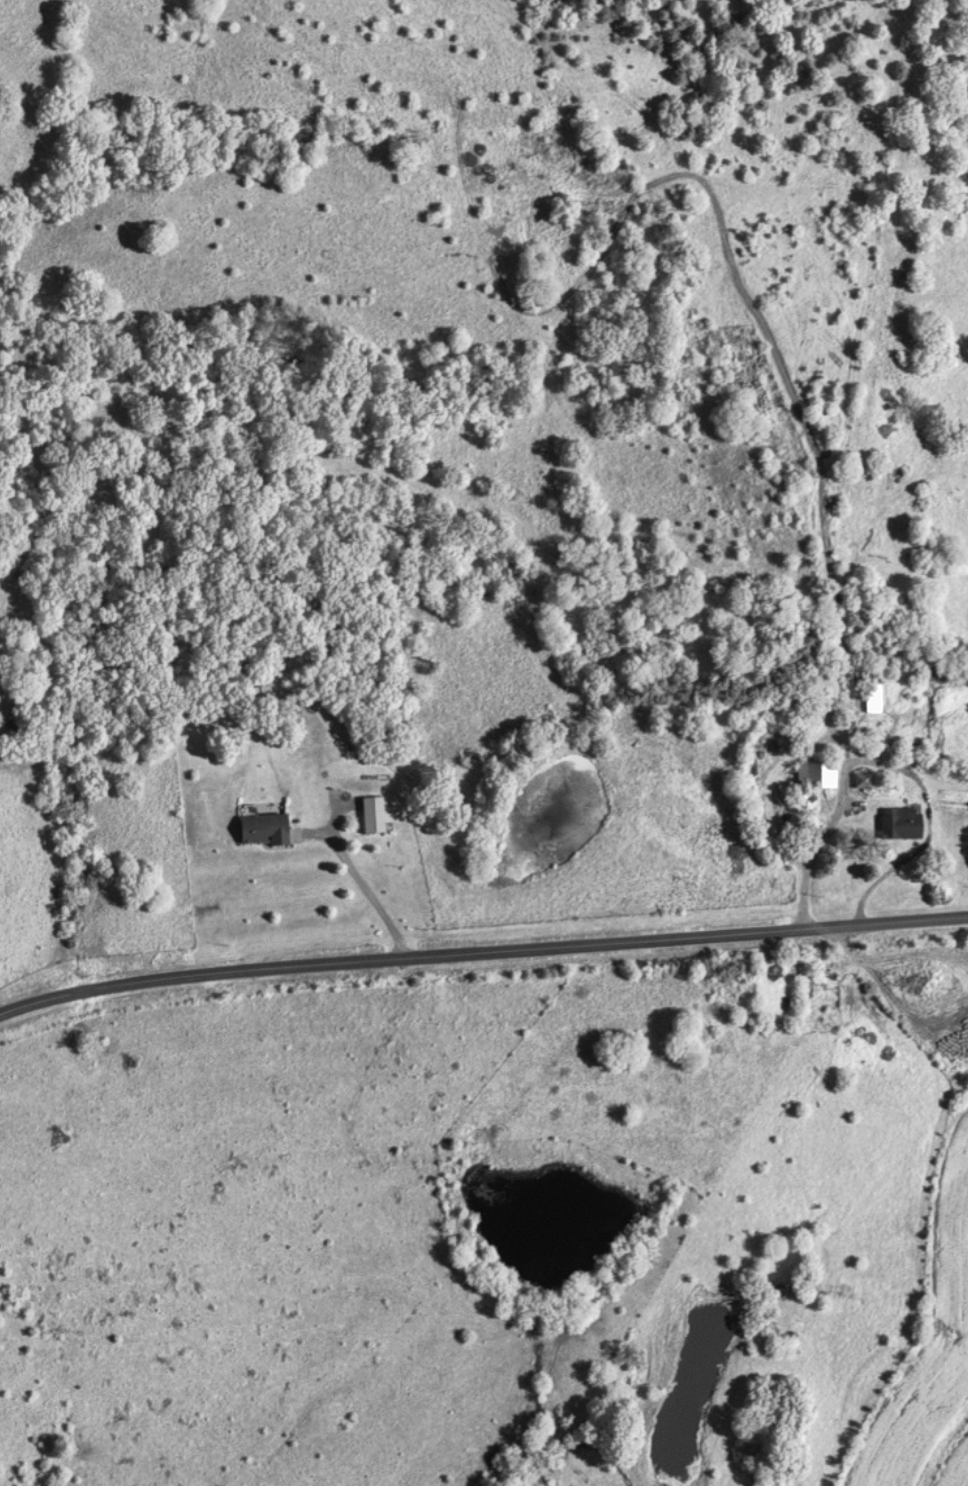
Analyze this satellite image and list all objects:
road: (829, 493)
building: (824, 690)
building: (869, 692)
building: (909, 754)
building: (812, 774)
building: (858, 780)
building: (369, 814)
building: (895, 823)
building: (259, 829)
road: (482, 951)
road: (942, 1447)

